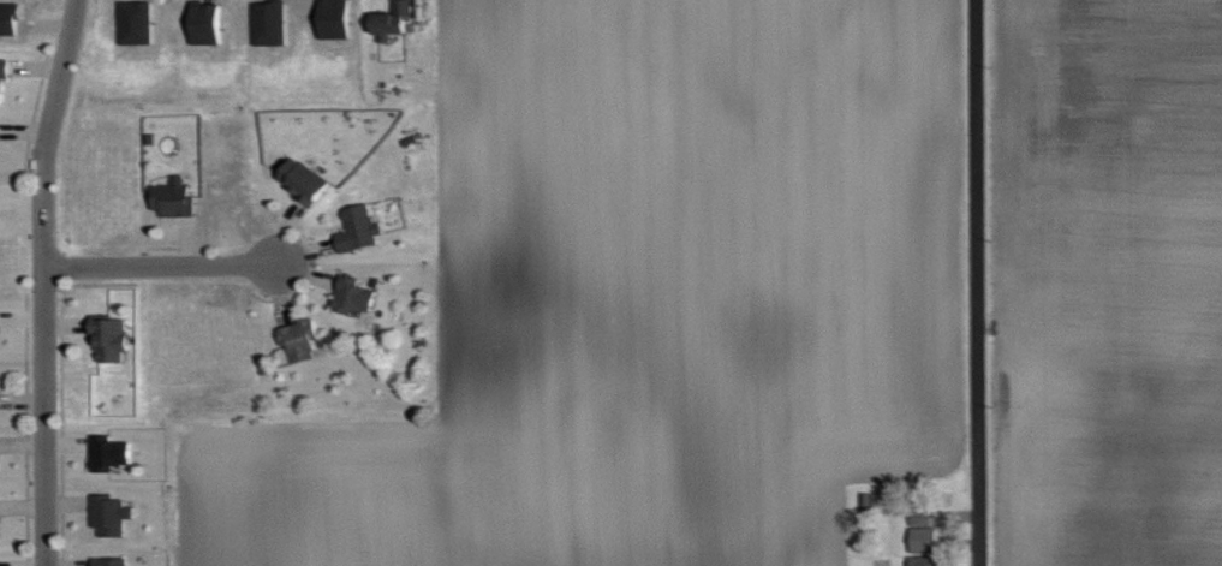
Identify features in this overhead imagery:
building: (397, 19)
building: (5, 70)
building: (306, 179)
building: (175, 196)
building: (360, 227)
road: (160, 264)
road: (42, 280)
road: (979, 282)
building: (357, 294)
building: (112, 338)
building: (303, 339)
building: (113, 451)
building: (112, 513)
building: (925, 538)
building: (112, 561)

